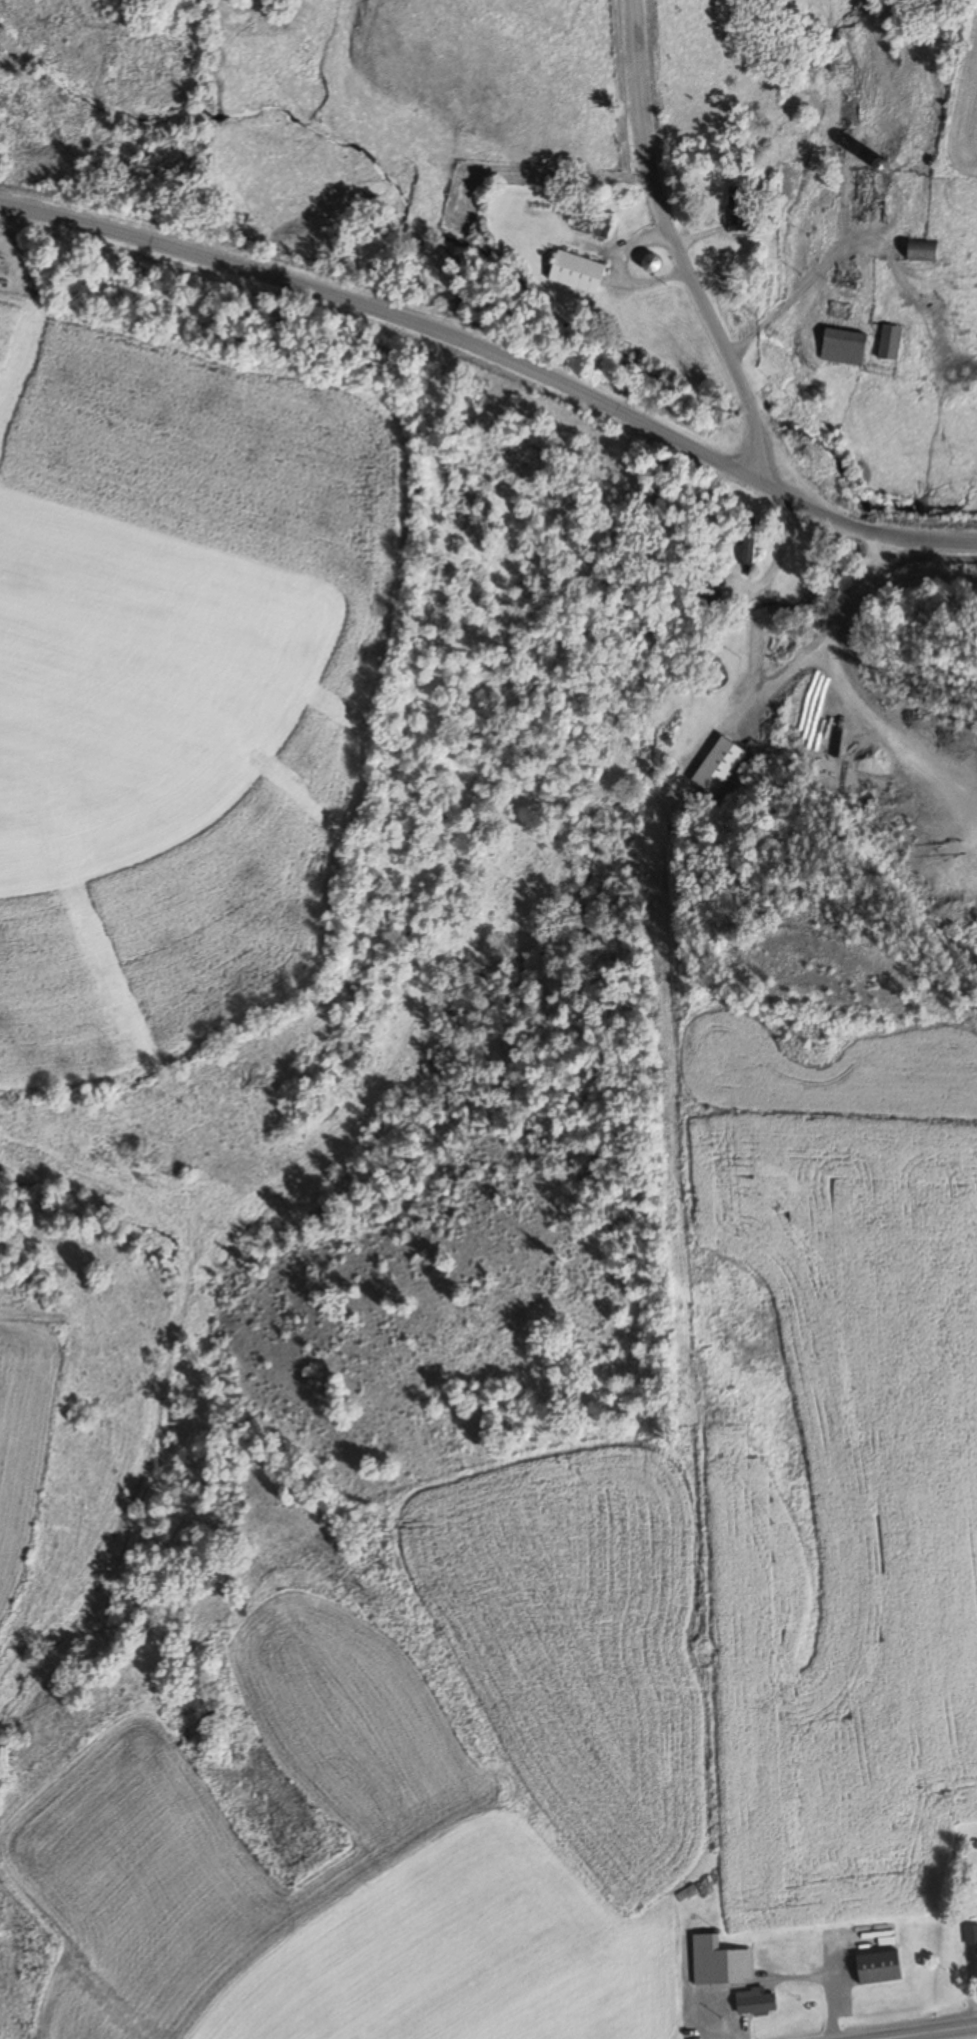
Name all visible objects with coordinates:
building: (735, 207)
road: (623, 223)
building: (589, 225)
building: (919, 249)
building: (648, 262)
building: (575, 271)
building: (888, 341)
building: (841, 346)
road: (493, 372)
building: (746, 538)
building: (970, 1934)
building: (717, 1962)
building: (872, 1968)
building: (752, 2001)
road: (928, 2031)

